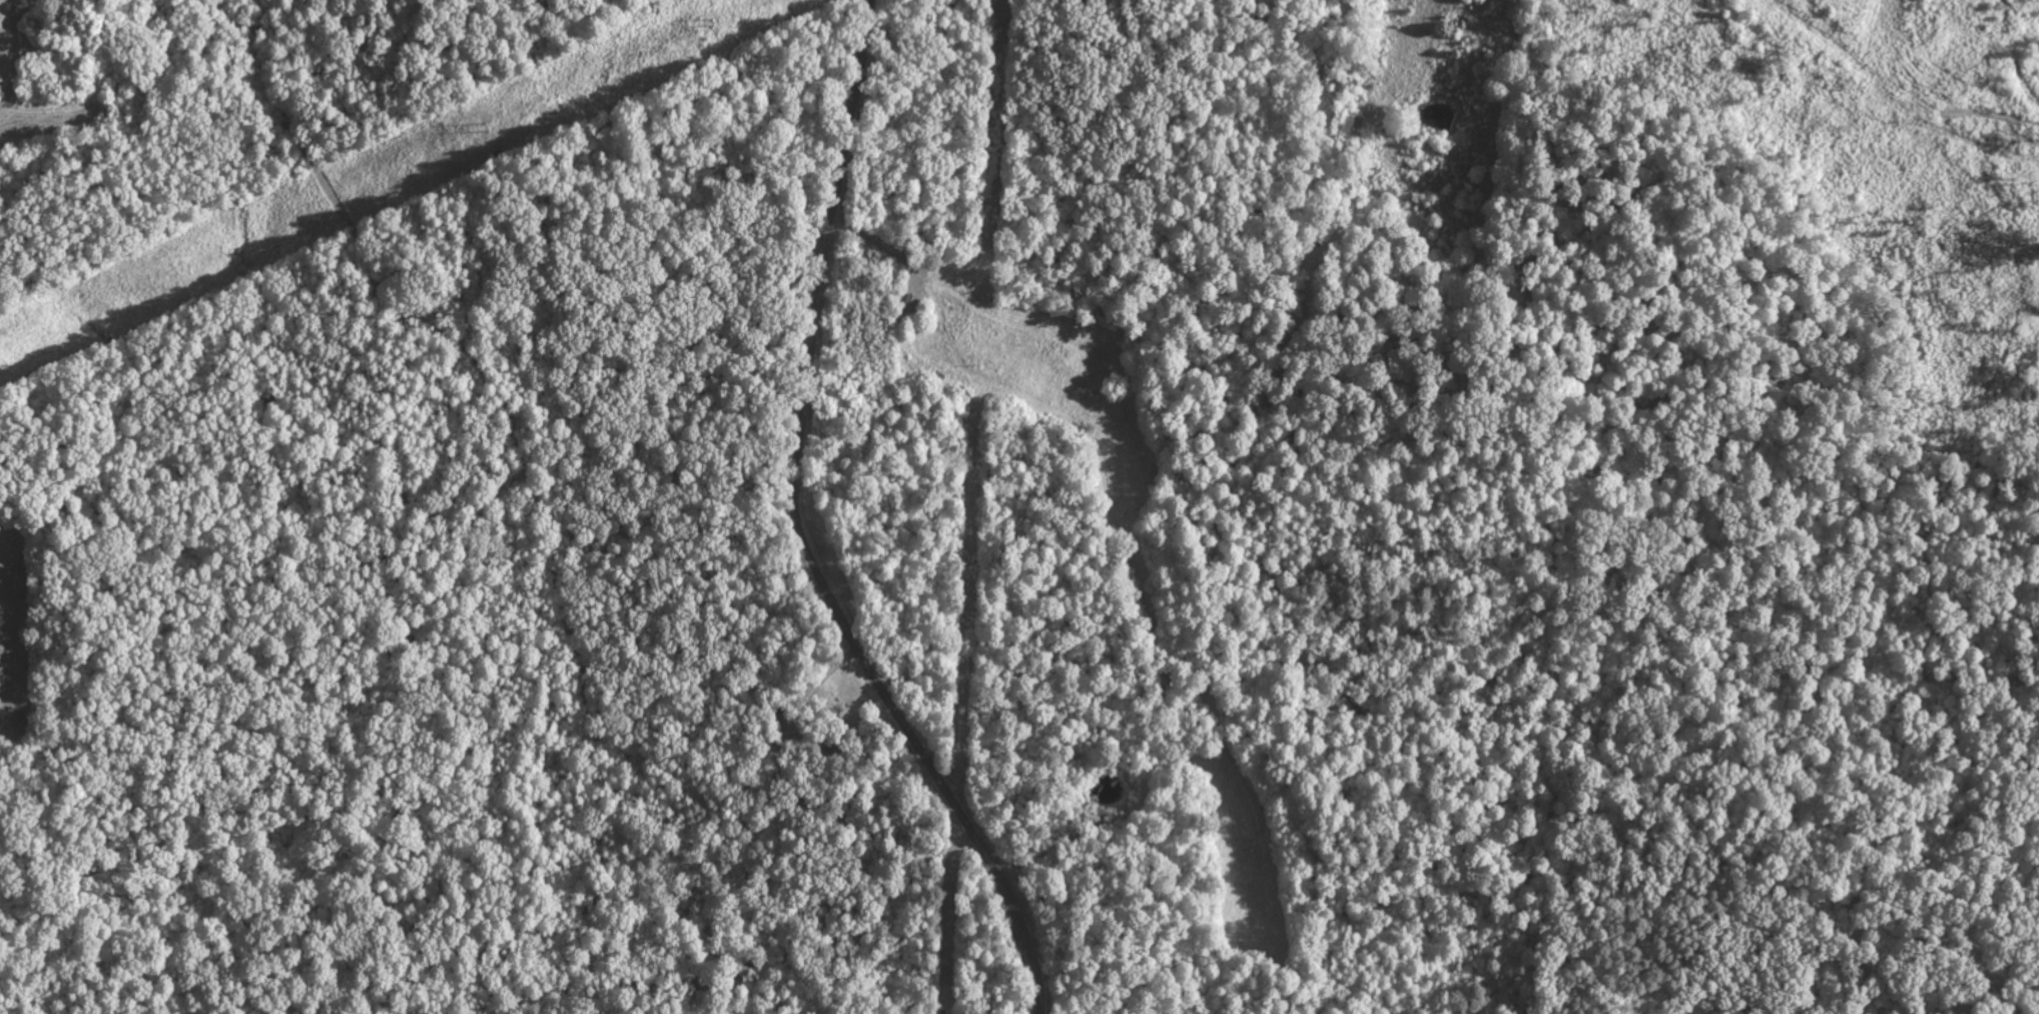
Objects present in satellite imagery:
road: (797, 535)
road: (7, 745)

